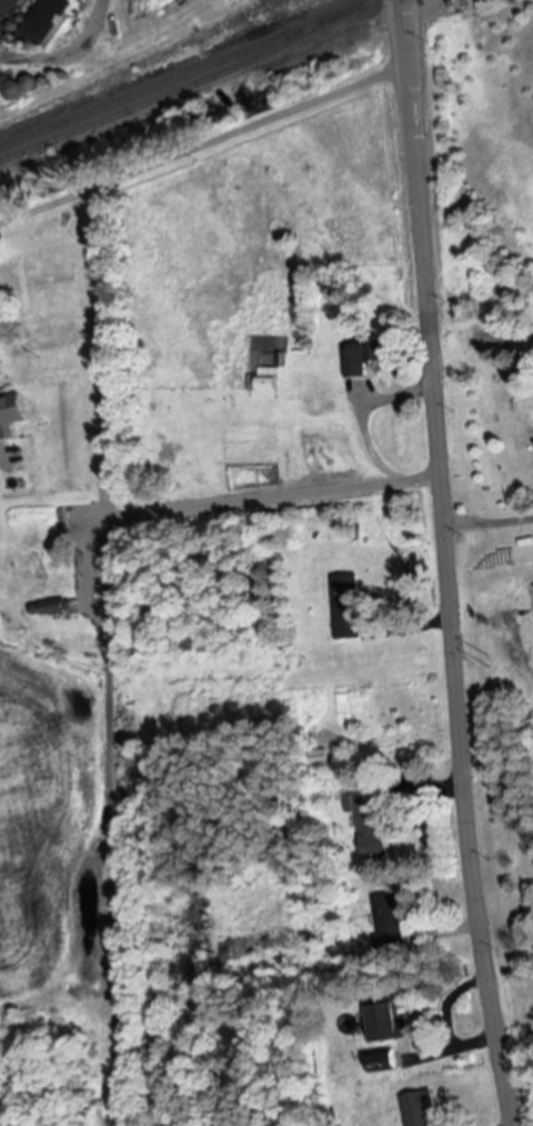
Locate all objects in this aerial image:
building: (7, 10)
building: (44, 19)
railway: (229, 20)
road: (403, 31)
railway: (141, 64)
railway: (188, 73)
railway: (184, 88)
road: (203, 143)
building: (358, 356)
building: (263, 383)
building: (10, 415)
building: (22, 577)
road: (450, 595)
building: (52, 607)
building: (344, 615)
power tower: (485, 658)
building: (369, 819)
crop: (63, 850)
building: (390, 925)
building: (386, 1020)
building: (418, 1108)

